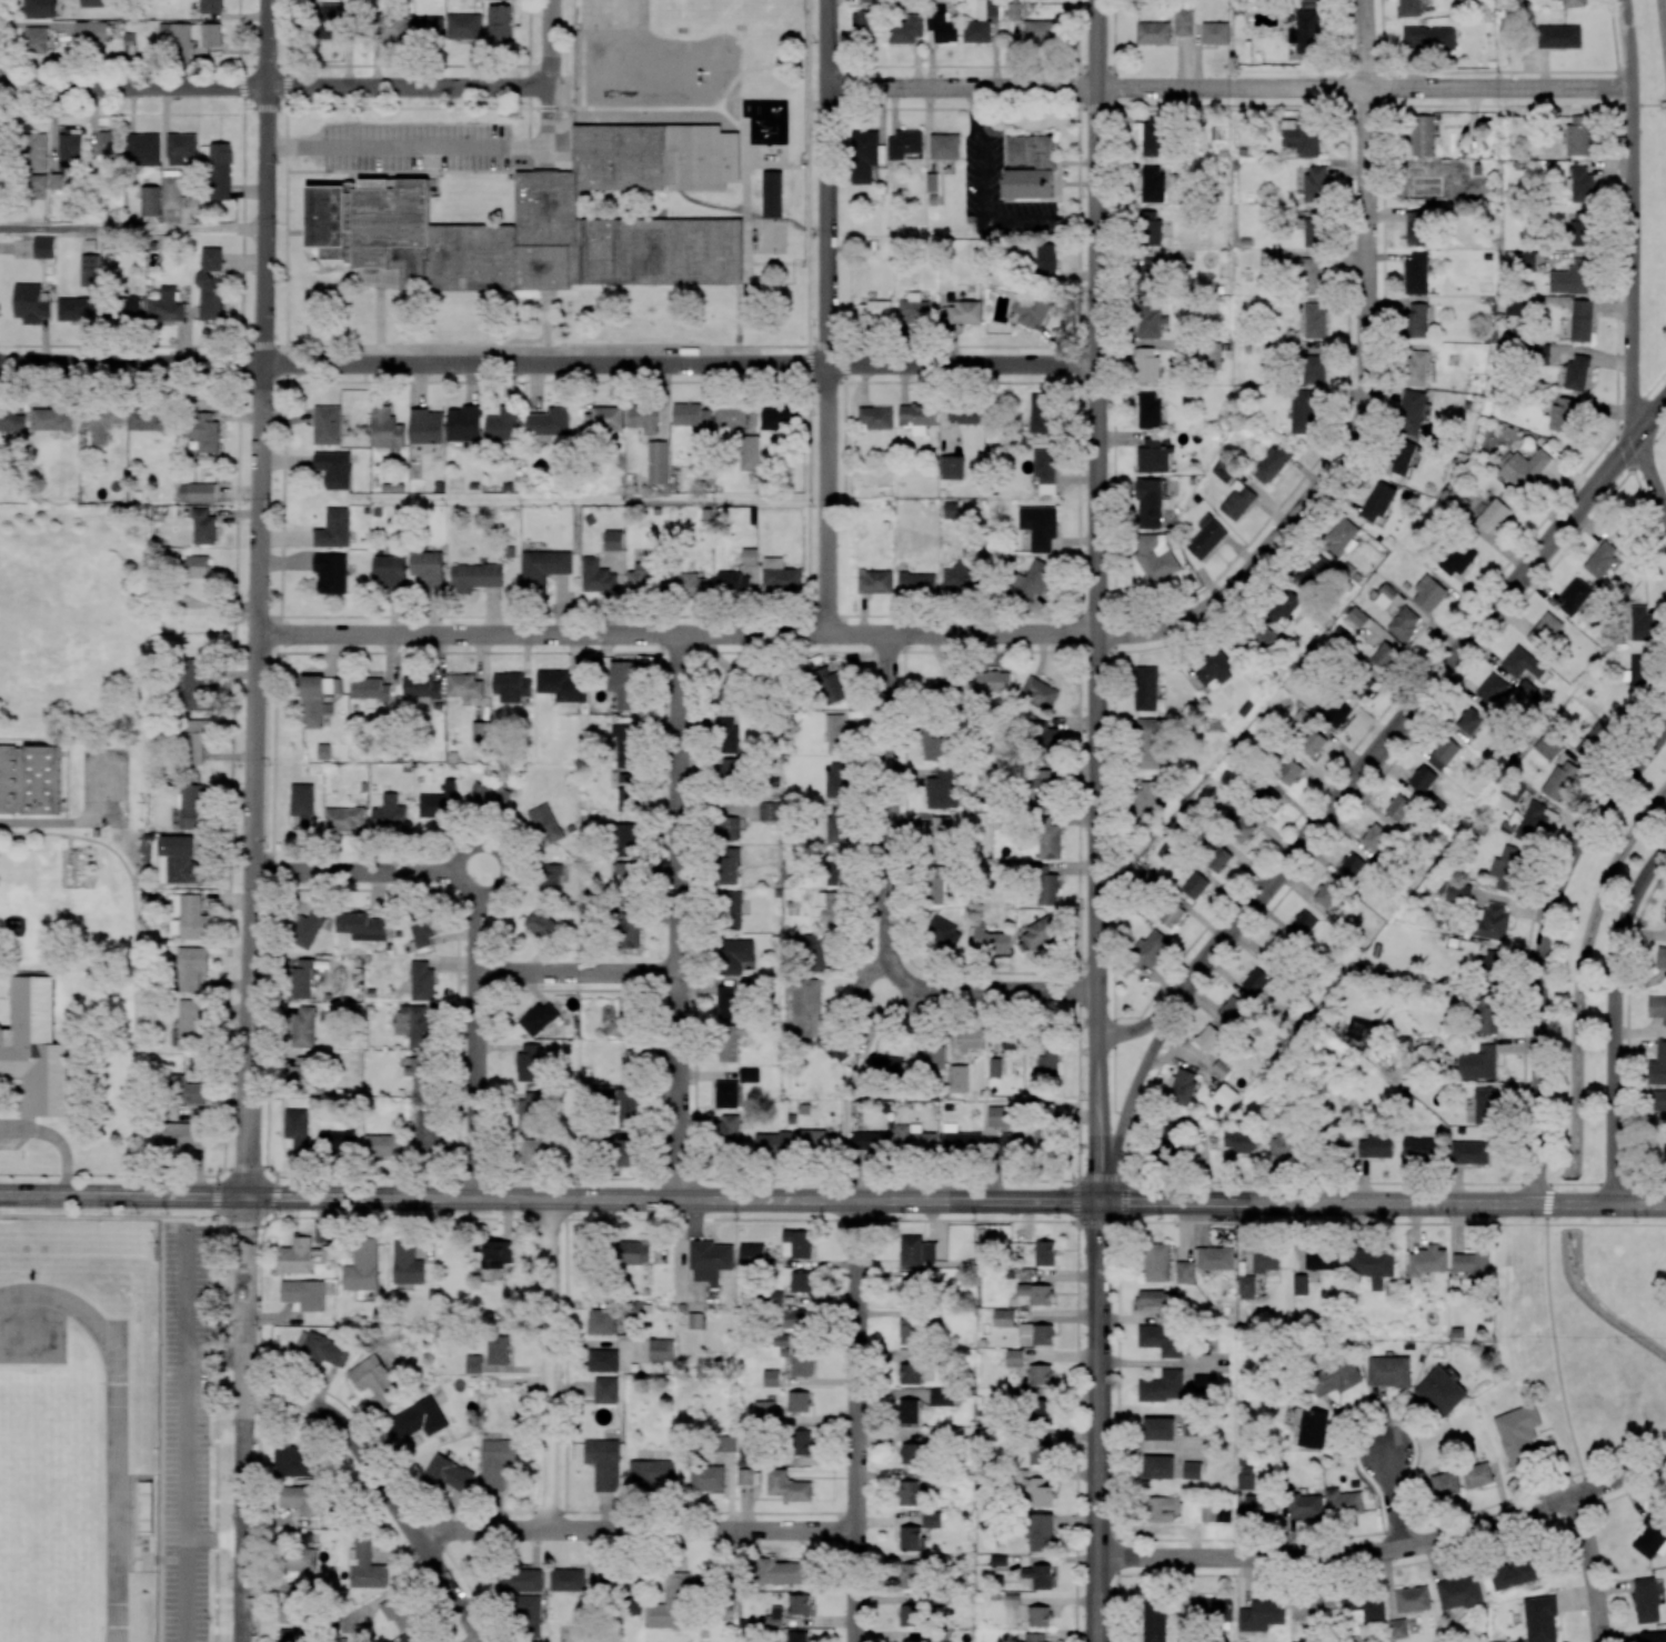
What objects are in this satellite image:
building: (1307, 0)
building: (869, 1)
building: (92, 3)
building: (1573, 3)
building: (211, 6)
building: (1409, 8)
building: (39, 9)
building: (1015, 10)
building: (330, 19)
building: (1183, 22)
building: (499, 24)
building: (941, 24)
building: (867, 26)
building: (391, 27)
building: (463, 27)
building: (429, 28)
building: (905, 30)
building: (90, 31)
building: (1041, 31)
building: (1304, 31)
building: (174, 32)
building: (1153, 32)
building: (1215, 32)
building: (211, 34)
road: (550, 36)
building: (1558, 36)
building: (1428, 38)
building: (36, 40)
road: (544, 76)
road: (271, 86)
road: (1231, 88)
road: (1663, 103)
road: (1106, 104)
road: (1387, 104)
road: (973, 116)
building: (1153, 136)
building: (1423, 136)
building: (1577, 136)
building: (1301, 137)
building: (106, 142)
building: (903, 144)
building: (180, 147)
building: (944, 147)
building: (70, 148)
road: (440, 148)
building: (142, 149)
building: (34, 151)
building: (1030, 151)
building: (864, 156)
building: (220, 171)
road: (983, 178)
building: (56, 181)
building: (38, 182)
building: (1028, 183)
building: (1152, 183)
building: (1315, 183)
building: (1582, 184)
building: (171, 189)
building: (151, 201)
road: (1632, 217)
building: (550, 220)
road: (1038, 224)
road: (131, 228)
building: (1150, 228)
building: (1416, 228)
building: (1314, 229)
building: (1579, 229)
building: (43, 247)
building: (211, 259)
building: (1045, 259)
building: (1271, 259)
building: (1524, 260)
building: (89, 270)
building: (1416, 272)
building: (1312, 276)
building: (1147, 277)
building: (1572, 279)
building: (210, 297)
road: (1367, 297)
building: (31, 303)
building: (129, 304)
building: (164, 306)
building: (74, 309)
building: (1030, 309)
building: (874, 311)
building: (964, 311)
building: (913, 312)
road: (261, 317)
road: (826, 318)
building: (1148, 320)
building: (1313, 320)
building: (1580, 320)
building: (1415, 321)
building: (1537, 352)
building: (1210, 357)
road: (549, 363)
building: (1147, 366)
building: (1313, 369)
building: (1416, 369)
building: (1576, 372)
building: (1148, 410)
building: (1302, 411)
building: (1411, 412)
building: (1042, 413)
building: (964, 414)
building: (1563, 414)
building: (692, 417)
building: (731, 417)
building: (875, 417)
building: (149, 418)
building: (644, 418)
building: (776, 418)
building: (916, 418)
building: (51, 419)
building: (603, 419)
building: (11, 421)
building: (100, 421)
building: (463, 423)
building: (503, 423)
building: (549, 423)
building: (202, 424)
building: (327, 424)
building: (425, 425)
building: (387, 428)
building: (749, 452)
building: (1154, 455)
building: (1402, 458)
building: (658, 462)
building: (1271, 463)
building: (952, 467)
building: (1522, 468)
building: (334, 469)
building: (1044, 470)
road: (1650, 474)
building: (197, 493)
building: (1236, 501)
building: (1455, 501)
building: (1148, 502)
building: (1378, 502)
building: (953, 510)
building: (1492, 515)
road: (1096, 518)
building: (203, 527)
building: (1038, 527)
building: (333, 529)
building: (1206, 537)
building: (1342, 537)
building: (613, 540)
building: (749, 557)
building: (1456, 559)
building: (1154, 560)
building: (1603, 560)
building: (197, 567)
building: (542, 568)
building: (429, 570)
building: (390, 572)
building: (1314, 572)
building: (331, 573)
building: (780, 575)
building: (474, 577)
building: (598, 577)
building: (960, 578)
building: (1031, 579)
building: (640, 580)
building: (874, 581)
building: (733, 583)
building: (916, 583)
building: (688, 585)
building: (1427, 593)
building: (1384, 595)
building: (1574, 595)
building: (1285, 607)
building: (1356, 617)
road: (1188, 621)
building: (1404, 623)
building: (1640, 623)
building: (1545, 631)
road: (674, 634)
building: (1259, 638)
building: (1384, 655)
building: (1522, 663)
building: (1215, 670)
park: (81, 671)
building: (1637, 672)
building: (991, 682)
building: (623, 683)
building: (192, 684)
building: (463, 685)
building: (827, 685)
building: (511, 687)
building: (945, 688)
building: (1145, 688)
building: (1364, 688)
building: (370, 689)
building: (422, 689)
building: (562, 689)
building: (1492, 689)
building: (730, 691)
building: (1040, 692)
road: (138, 699)
road: (1418, 699)
building: (311, 701)
building: (1337, 712)
building: (1469, 721)
building: (480, 732)
building: (836, 734)
building: (726, 735)
building: (1596, 735)
building: (195, 740)
building: (1045, 740)
building: (1313, 742)
building: (1148, 743)
building: (932, 744)
building: (1547, 748)
building: (624, 749)
building: (1443, 753)
building: (727, 769)
building: (1289, 771)
building: (1422, 779)
building: (1560, 779)
building: (29, 780)
building: (836, 780)
building: (1043, 780)
building: (940, 789)
building: (628, 792)
building: (489, 798)
building: (1268, 798)
building: (1146, 800)
building: (439, 802)
building: (302, 804)
building: (193, 807)
building: (1398, 808)
building: (769, 811)
building: (389, 812)
road: (889, 813)
building: (344, 819)
road: (81, 820)
building: (1530, 822)
building: (545, 824)
building: (837, 825)
building: (727, 828)
building: (1242, 830)
building: (935, 837)
building: (1375, 837)
building: (625, 840)
building: (1050, 844)
building: (1217, 859)
building: (180, 860)
building: (727, 865)
building: (1351, 865)
building: (1508, 869)
road: (364, 870)
building: (836, 873)
building: (1138, 877)
building: (550, 881)
building: (624, 882)
building: (936, 883)
building: (1194, 885)
building: (1045, 887)
building: (1455, 891)
building: (1327, 894)
building: (730, 910)
building: (832, 910)
building: (1171, 913)
road: (252, 914)
road: (679, 917)
building: (190, 918)
building: (1665, 919)
building: (1489, 921)
building: (1303, 923)
building: (541, 925)
building: (361, 927)
building: (307, 930)
building: (628, 930)
building: (422, 931)
building: (943, 932)
building: (1038, 932)
building: (992, 942)
road: (1544, 947)
building: (1150, 949)
building: (813, 952)
building: (733, 955)
building: (1660, 958)
building: (190, 968)
road: (578, 972)
building: (301, 980)
building: (421, 981)
building: (1255, 981)
road: (993, 992)
building: (804, 998)
building: (726, 1002)
building: (1656, 1007)
building: (1232, 1010)
building: (1486, 1014)
building: (536, 1018)
road: (1615, 1019)
building: (622, 1020)
building: (191, 1024)
building: (413, 1024)
building: (303, 1027)
road: (1138, 1029)
building: (1358, 1032)
road: (475, 1034)
building: (1207, 1037)
building: (970, 1040)
building: (729, 1041)
building: (1011, 1041)
building: (1404, 1042)
building: (834, 1044)
building: (34, 1049)
building: (927, 1059)
building: (1046, 1062)
building: (528, 1063)
building: (1477, 1063)
building: (629, 1065)
building: (1657, 1065)
building: (885, 1067)
building: (994, 1067)
building: (420, 1073)
building: (749, 1074)
building: (299, 1075)
building: (957, 1079)
building: (1182, 1087)
building: (187, 1091)
building: (725, 1094)
building: (1226, 1095)
road: (1131, 1100)
building: (1657, 1102)
building: (1485, 1105)
building: (628, 1107)
building: (529, 1110)
building: (998, 1115)
road: (1098, 1119)
building: (295, 1129)
building: (727, 1131)
building: (428, 1132)
building: (180, 1134)
road: (57, 1138)
building: (914, 1138)
building: (813, 1140)
building: (961, 1140)
building: (1170, 1141)
building: (1241, 1141)
building: (1336, 1142)
building: (335, 1143)
building: (383, 1144)
building: (773, 1144)
building: (871, 1144)
building: (1283, 1144)
building: (1375, 1147)
building: (1007, 1148)
building: (1418, 1149)
building: (1469, 1152)
building: (1665, 1152)
building: (532, 1153)
building: (624, 1153)
road: (1607, 1183)
road: (123, 1194)
traffic signals: (249, 1195)
road: (930, 1200)
traffic signals: (1100, 1202)
road: (1638, 1204)
road: (826, 1219)
building: (796, 1243)
building: (915, 1251)
building: (633, 1252)
building: (495, 1253)
building: (1044, 1253)
building: (751, 1254)
building: (301, 1255)
building: (1215, 1258)
building: (1318, 1259)
building: (710, 1261)
building: (1265, 1261)
building: (1156, 1262)
building: (1426, 1262)
building: (407, 1263)
building: (1469, 1263)
building: (362, 1265)
building: (1372, 1265)
building: (1184, 1272)
building: (800, 1282)
building: (1299, 1284)
building: (1245, 1286)
building: (909, 1292)
building: (1035, 1293)
building: (302, 1294)
building: (1003, 1318)
building: (795, 1319)
building: (695, 1320)
building: (601, 1321)
building: (910, 1331)
building: (1036, 1334)
road: (1555, 1338)
building: (1161, 1339)
building: (789, 1340)
building: (321, 1349)
building: (496, 1350)
building: (661, 1350)
building: (1013, 1358)
building: (602, 1360)
road: (549, 1362)
building: (801, 1362)
building: (473, 1364)
building: (1387, 1371)
building: (910, 1373)
building: (1040, 1374)
building: (770, 1378)
building: (1335, 1378)
building: (374, 1380)
building: (1201, 1383)
road: (185, 1385)
building: (1162, 1386)
building: (604, 1390)
building: (1441, 1391)
building: (941, 1396)
building: (799, 1401)
building: (763, 1410)
building: (907, 1411)
building: (1040, 1412)
road: (243, 1418)
building: (418, 1419)
road: (856, 1421)
road: (1098, 1422)
building: (1158, 1429)
building: (1312, 1429)
building: (1518, 1435)
building: (803, 1442)
building: (1038, 1452)
building: (911, 1453)
building: (290, 1462)
building: (495, 1463)
building: (603, 1463)
building: (1157, 1466)
building: (1192, 1470)
building: (446, 1473)
building: (649, 1473)
building: (1476, 1475)
building: (747, 1476)
building: (1245, 1476)
building: (706, 1478)
building: (1445, 1483)
road: (388, 1484)
building: (787, 1486)
building: (909, 1492)
building: (1040, 1493)
road: (1392, 1493)
track: (116, 1499)
building: (301, 1499)
building: (1343, 1502)
building: (1304, 1504)
building: (1261, 1506)
building: (141, 1508)
park: (46, 1509)
building: (1157, 1509)
building: (1208, 1513)
building: (931, 1519)
road: (635, 1526)
building: (1040, 1532)
building: (911, 1539)
building: (1650, 1539)
road: (214, 1541)
road: (1388, 1550)
building: (300, 1554)
building: (364, 1565)
road: (1590, 1568)
building: (782, 1572)
building: (1516, 1572)
building: (911, 1575)
building: (1040, 1576)
building: (519, 1580)
building: (568, 1580)
building: (620, 1586)
road: (187, 1591)
building: (1458, 1592)
building: (1412, 1600)
building: (1645, 1600)
building: (294, 1602)
building: (670, 1604)
building: (800, 1604)
building: (1365, 1606)
building: (1212, 1608)
building: (1314, 1609)
building: (398, 1611)
building: (1261, 1614)
building: (528, 1615)
building: (910, 1615)
building: (1038, 1615)
building: (774, 1618)
building: (1540, 1619)
building: (1154, 1621)
building: (1398, 1629)
building: (361, 1633)
building: (290, 1635)
building: (413, 1636)
building: (796, 1636)
building: (1034, 1636)
building: (1653, 1636)
building: (912, 1641)

